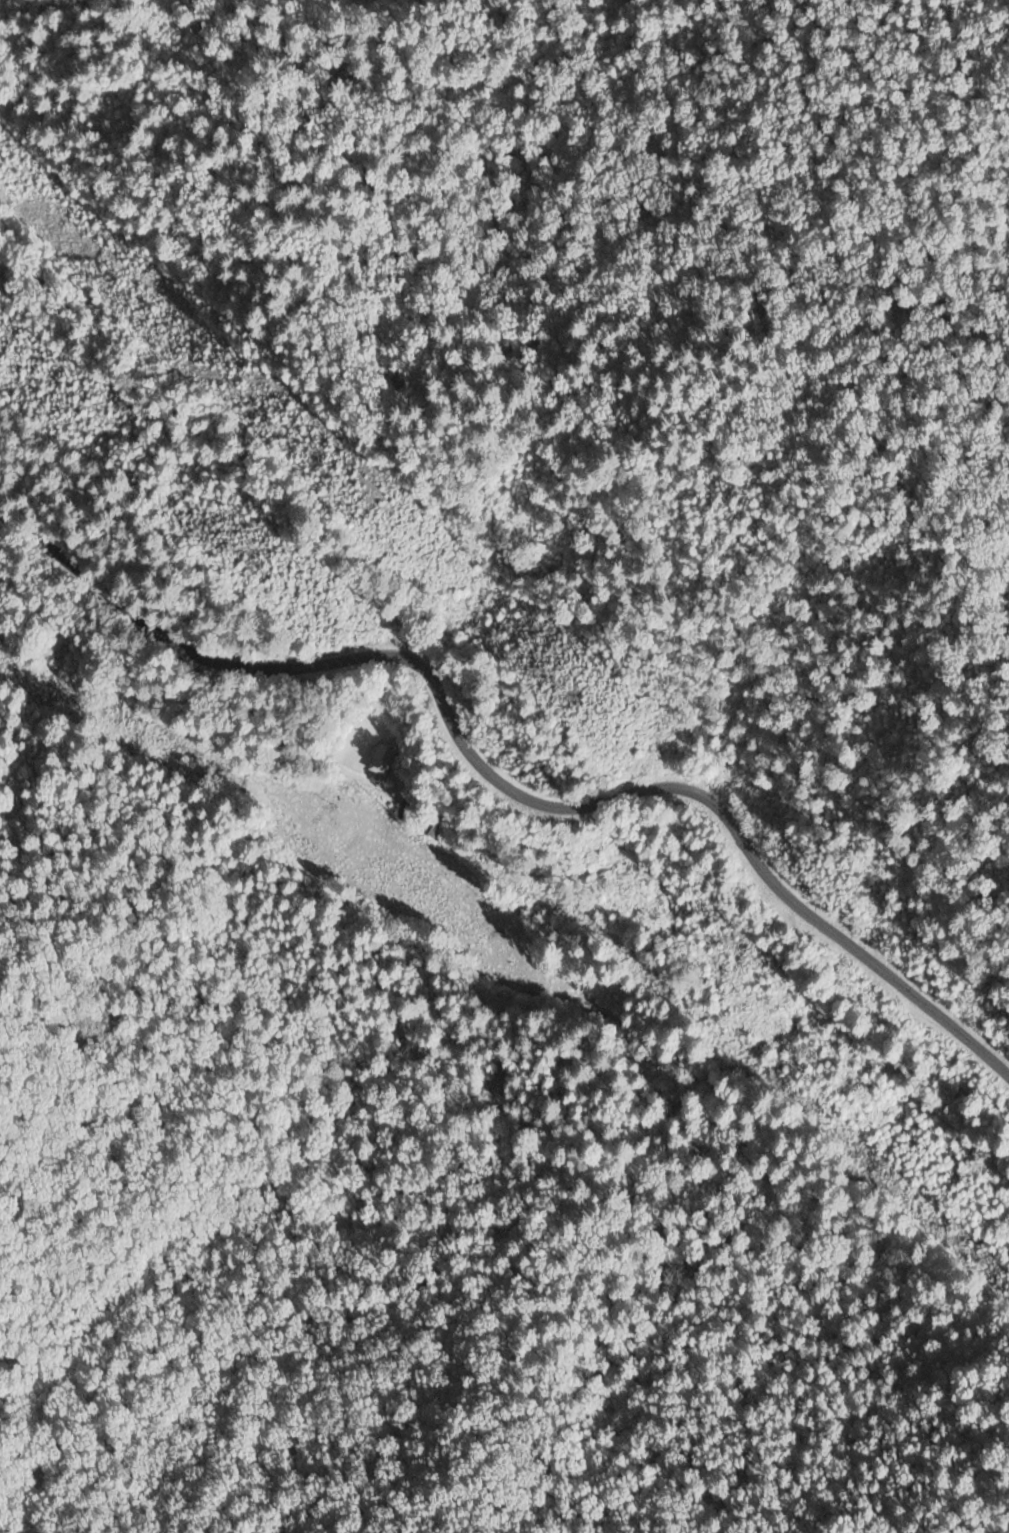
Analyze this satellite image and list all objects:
power tower: (309, 459)
power tower: (245, 567)
power tower: (568, 696)
building: (382, 760)
road: (506, 789)
power tower: (847, 1083)

